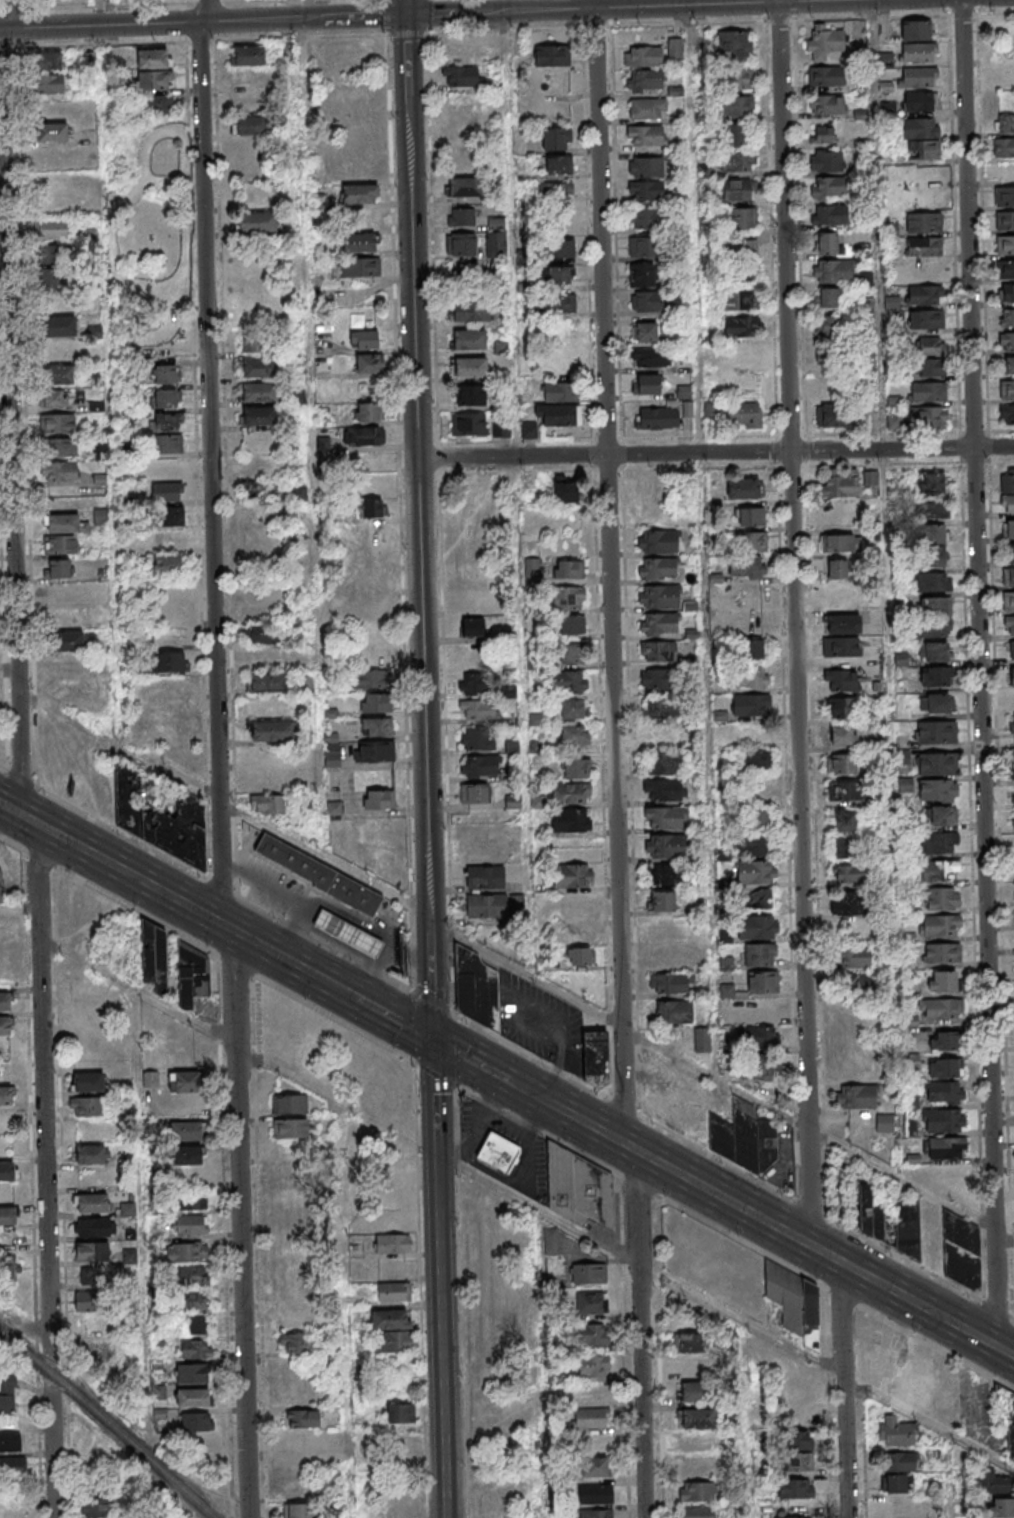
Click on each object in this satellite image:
road: (230, 1)
road: (248, 2)
road: (106, 7)
road: (407, 7)
road: (628, 7)
road: (312, 9)
road: (16, 10)
traffic signals: (408, 15)
road: (204, 21)
building: (918, 29)
building: (824, 42)
building: (734, 46)
building: (350, 51)
building: (674, 51)
building: (463, 52)
building: (918, 52)
building: (246, 55)
building: (552, 55)
building: (643, 55)
road: (409, 57)
building: (154, 58)
building: (885, 59)
building: (48, 60)
building: (462, 76)
building: (826, 77)
building: (918, 77)
building: (736, 78)
building: (154, 80)
building: (645, 80)
building: (50, 84)
building: (362, 96)
building: (920, 102)
building: (155, 104)
building: (828, 105)
building: (734, 106)
building: (648, 108)
building: (250, 124)
building: (1005, 124)
building: (921, 129)
building: (52, 132)
building: (823, 134)
building: (646, 135)
building: (735, 135)
building: (556, 138)
building: (358, 145)
building: (1003, 148)
building: (923, 150)
building: (826, 161)
building: (735, 162)
building: (557, 164)
building: (646, 167)
building: (356, 170)
building: (464, 186)
building: (829, 188)
building: (555, 189)
building: (645, 190)
building: (736, 190)
building: (360, 193)
building: (1004, 196)
building: (829, 215)
building: (461, 216)
building: (644, 217)
building: (742, 219)
building: (1004, 221)
building: (924, 222)
building: (255, 223)
building: (496, 223)
building: (51, 228)
park: (150, 238)
building: (358, 242)
building: (827, 242)
building: (460, 244)
building: (495, 244)
building: (1005, 245)
building: (642, 246)
building: (924, 246)
building: (559, 247)
building: (746, 248)
building: (54, 254)
building: (360, 267)
building: (1005, 269)
building: (833, 271)
building: (741, 273)
building: (641, 275)
building: (557, 276)
building: (56, 279)
building: (1007, 293)
building: (925, 294)
building: (827, 297)
building: (737, 299)
building: (645, 301)
building: (892, 303)
building: (557, 305)
building: (469, 311)
building: (1007, 317)
building: (926, 319)
building: (60, 325)
building: (827, 325)
building: (741, 326)
building: (644, 331)
building: (363, 338)
building: (469, 339)
building: (254, 345)
road: (880, 345)
building: (930, 346)
building: (157, 349)
building: (60, 350)
building: (1007, 352)
building: (828, 355)
building: (650, 357)
building: (566, 360)
building: (367, 363)
building: (259, 367)
building: (471, 367)
building: (931, 367)
building: (59, 374)
building: (165, 374)
building: (646, 384)
road: (111, 387)
building: (1007, 389)
building: (259, 391)
building: (560, 391)
building: (928, 391)
building: (470, 395)
building: (52, 398)
building: (164, 398)
building: (367, 411)
building: (1007, 414)
building: (258, 415)
building: (745, 415)
building: (830, 415)
building: (658, 417)
building: (551, 418)
building: (928, 418)
building: (166, 421)
building: (57, 423)
building: (893, 423)
building: (468, 424)
building: (501, 428)
building: (363, 436)
road: (311, 438)
building: (170, 444)
building: (62, 447)
road: (715, 452)
building: (60, 471)
building: (870, 478)
building: (1007, 481)
building: (840, 483)
building: (930, 483)
road: (519, 488)
building: (744, 488)
building: (167, 493)
building: (566, 493)
building: (1009, 505)
building: (371, 508)
building: (934, 510)
building: (100, 516)
building: (749, 516)
building: (170, 517)
building: (468, 517)
building: (64, 523)
building: (1009, 530)
building: (935, 534)
road: (705, 539)
building: (659, 541)
building: (752, 542)
building: (840, 543)
building: (60, 544)
building: (1010, 553)
building: (935, 556)
building: (165, 566)
building: (57, 568)
building: (746, 568)
building: (836, 568)
road: (420, 570)
building: (569, 570)
building: (659, 573)
building: (532, 574)
building: (1008, 577)
building: (370, 581)
building: (932, 582)
building: (745, 593)
building: (844, 597)
building: (568, 599)
building: (660, 600)
building: (1008, 602)
building: (934, 606)
building: (747, 620)
road: (793, 623)
building: (842, 624)
building: (572, 625)
building: (1009, 627)
building: (473, 628)
building: (661, 628)
building: (933, 628)
building: (257, 634)
building: (509, 637)
building: (69, 640)
building: (840, 646)
building: (753, 649)
building: (658, 650)
building: (1011, 651)
building: (934, 652)
building: (473, 655)
building: (573, 655)
building: (263, 658)
building: (168, 661)
building: (66, 666)
road: (12, 673)
road: (978, 673)
building: (935, 677)
building: (372, 678)
building: (657, 678)
building: (751, 678)
building: (1011, 678)
building: (840, 680)
road: (25, 682)
building: (266, 682)
building: (567, 683)
building: (173, 685)
building: (480, 685)
building: (67, 690)
building: (508, 692)
building: (374, 702)
building: (935, 704)
building: (751, 705)
building: (659, 708)
building: (840, 708)
building: (571, 709)
building: (170, 710)
building: (480, 710)
building: (537, 721)
building: (1012, 724)
building: (376, 726)
building: (270, 730)
building: (748, 734)
building: (937, 734)
building: (664, 735)
building: (841, 735)
building: (573, 737)
building: (477, 740)
building: (537, 747)
building: (512, 748)
road: (123, 750)
building: (373, 752)
building: (331, 754)
road: (221, 758)
road: (614, 759)
building: (754, 760)
building: (842, 764)
building: (939, 765)
building: (480, 767)
building: (665, 767)
building: (577, 769)
building: (1013, 771)
building: (508, 776)
building: (268, 779)
building: (663, 789)
building: (844, 791)
building: (939, 792)
building: (473, 794)
building: (570, 794)
building: (376, 799)
building: (513, 803)
building: (538, 803)
building: (267, 805)
building: (942, 815)
building: (158, 818)
building: (759, 818)
building: (844, 820)
building: (570, 821)
building: (665, 822)
road: (10, 841)
building: (939, 842)
building: (756, 844)
building: (844, 847)
building: (667, 849)
road: (37, 857)
road: (328, 860)
building: (938, 869)
building: (755, 872)
building: (664, 874)
building: (847, 874)
building: (571, 877)
road: (206, 878)
building: (484, 878)
building: (322, 880)
building: (1, 885)
road: (160, 891)
building: (942, 898)
building: (755, 899)
building: (660, 901)
building: (516, 905)
building: (850, 905)
building: (486, 907)
building: (577, 908)
road: (134, 909)
building: (940, 925)
building: (757, 927)
building: (667, 928)
building: (349, 938)
building: (760, 954)
building: (941, 954)
building: (153, 956)
building: (668, 956)
building: (580, 957)
building: (852, 958)
road: (235, 963)
building: (726, 964)
road: (527, 974)
building: (192, 975)
building: (943, 982)
building: (670, 983)
building: (762, 983)
building: (855, 985)
road: (339, 989)
building: (476, 990)
road: (522, 1000)
building: (4, 1002)
road: (434, 1003)
building: (942, 1009)
building: (761, 1010)
building: (673, 1012)
road: (336, 1019)
road: (395, 1019)
road: (412, 1025)
building: (4, 1026)
building: (759, 1038)
traffic signals: (432, 1040)
building: (702, 1041)
building: (944, 1041)
road: (239, 1045)
road: (458, 1051)
road: (468, 1059)
building: (594, 1059)
building: (851, 1062)
building: (945, 1068)
building: (761, 1070)
building: (5, 1074)
road: (435, 1074)
road: (559, 1074)
road: (714, 1074)
building: (87, 1081)
building: (183, 1081)
road: (528, 1091)
building: (945, 1092)
building: (6, 1095)
building: (856, 1098)
building: (289, 1104)
building: (85, 1106)
road: (482, 1116)
building: (943, 1120)
building: (884, 1124)
road: (506, 1126)
building: (290, 1128)
road: (536, 1128)
building: (186, 1130)
building: (744, 1137)
road: (528, 1144)
building: (945, 1148)
building: (498, 1151)
road: (452, 1153)
building: (91, 1154)
building: (186, 1155)
road: (736, 1167)
building: (8, 1171)
building: (286, 1174)
road: (498, 1175)
building: (947, 1178)
road: (635, 1182)
road: (910, 1185)
building: (579, 1189)
building: (190, 1200)
building: (91, 1203)
building: (127, 1209)
building: (7, 1215)
building: (871, 1215)
building: (189, 1224)
building: (92, 1227)
road: (782, 1230)
road: (739, 1238)
building: (392, 1243)
building: (550, 1243)
building: (91, 1251)
building: (186, 1252)
building: (961, 1255)
building: (9, 1272)
building: (589, 1273)
building: (194, 1275)
building: (94, 1276)
road: (439, 1278)
building: (393, 1291)
road: (840, 1293)
building: (192, 1300)
building: (85, 1301)
building: (592, 1302)
building: (794, 1303)
road: (725, 1312)
building: (390, 1319)
building: (197, 1324)
building: (593, 1334)
building: (393, 1341)
building: (302, 1342)
building: (688, 1344)
road: (936, 1347)
building: (195, 1349)
building: (93, 1351)
building: (593, 1366)
building: (693, 1369)
building: (920, 1371)
building: (192, 1373)
building: (485, 1373)
road: (843, 1389)
building: (693, 1393)
building: (591, 1394)
building: (7, 1395)
building: (192, 1397)
building: (398, 1413)
building: (591, 1418)
building: (301, 1419)
building: (697, 1419)
building: (1005, 1420)
railway: (108, 1422)
building: (196, 1422)
building: (896, 1433)
building: (10, 1442)
building: (694, 1444)
road: (54, 1450)
building: (796, 1452)
building: (899, 1462)
building: (596, 1467)
building: (695, 1468)
building: (12, 1475)
building: (896, 1484)
building: (993, 1484)
building: (795, 1488)
building: (697, 1493)
building: (596, 1494)
building: (898, 1506)
building: (96, 1507)
building: (1000, 1508)
building: (298, 1511)
building: (492, 1513)
building: (594, 1513)
building: (697, 1513)
building: (791, 1517)

